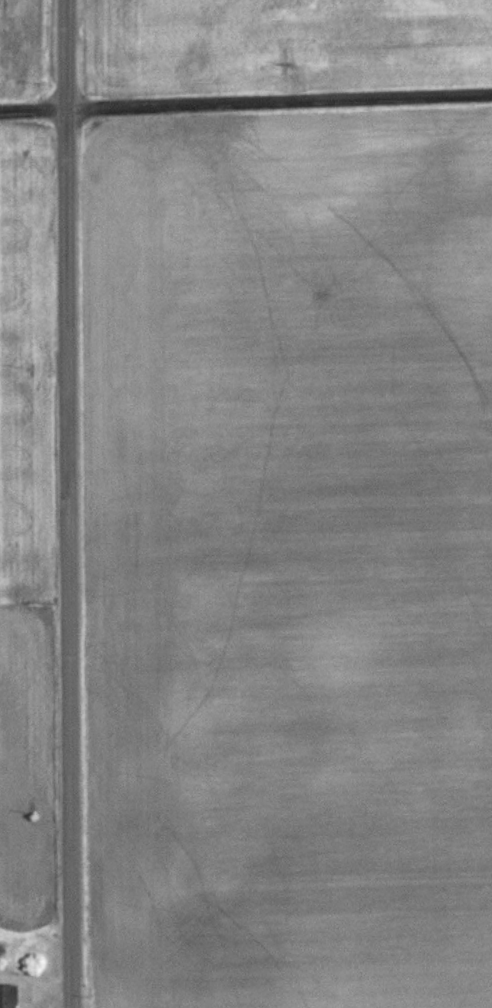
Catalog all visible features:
road: (245, 104)
road: (68, 503)
building: (6, 997)

